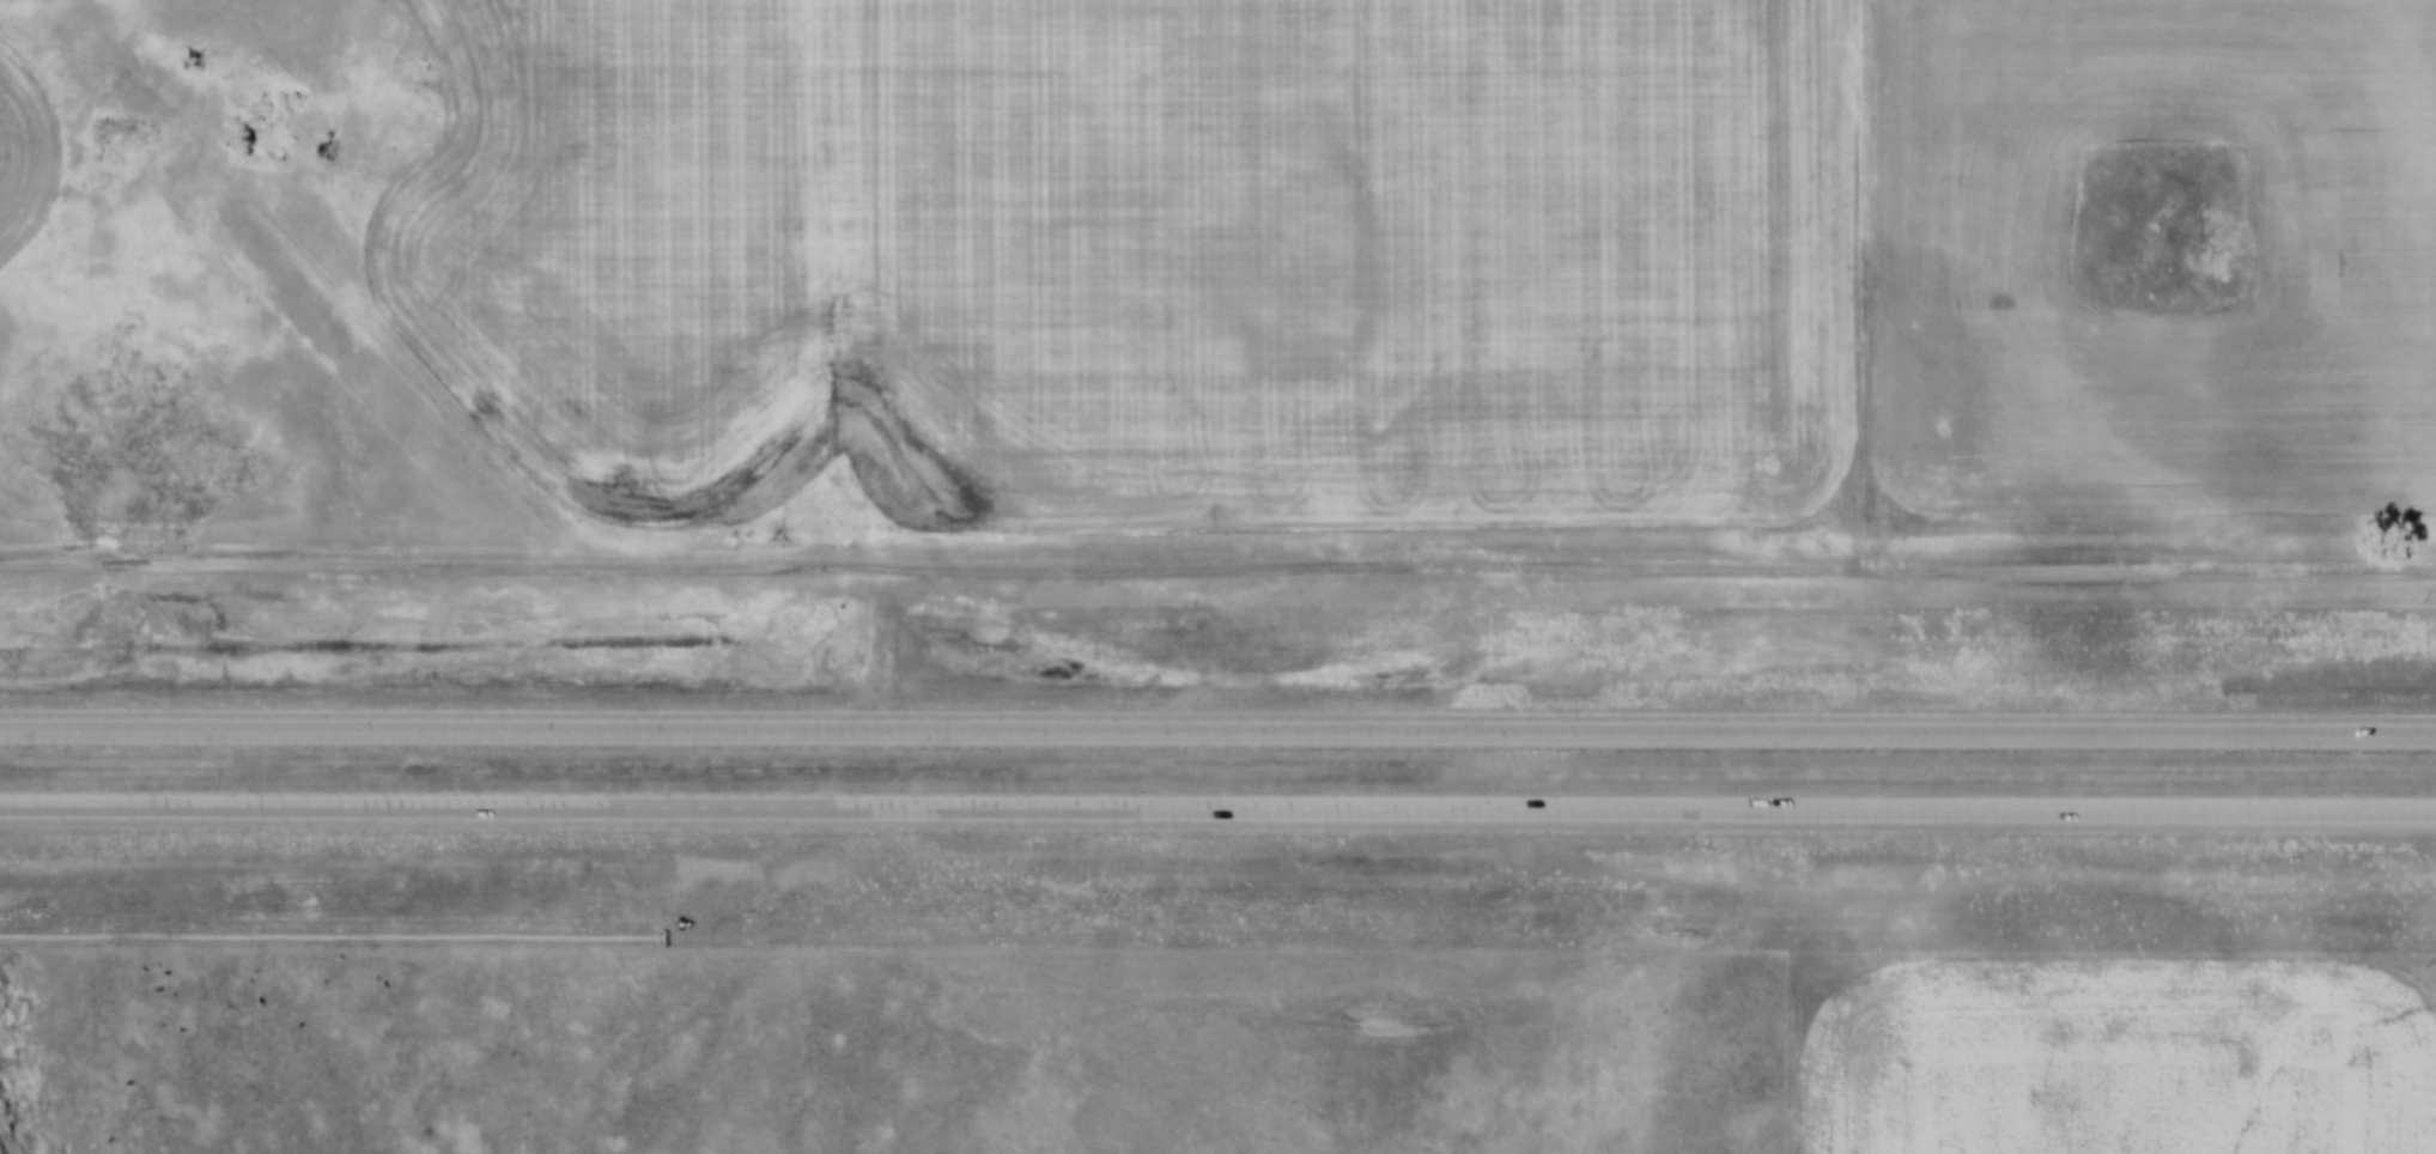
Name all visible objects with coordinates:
road: (1217, 566)
road: (1217, 727)
road: (1217, 809)

